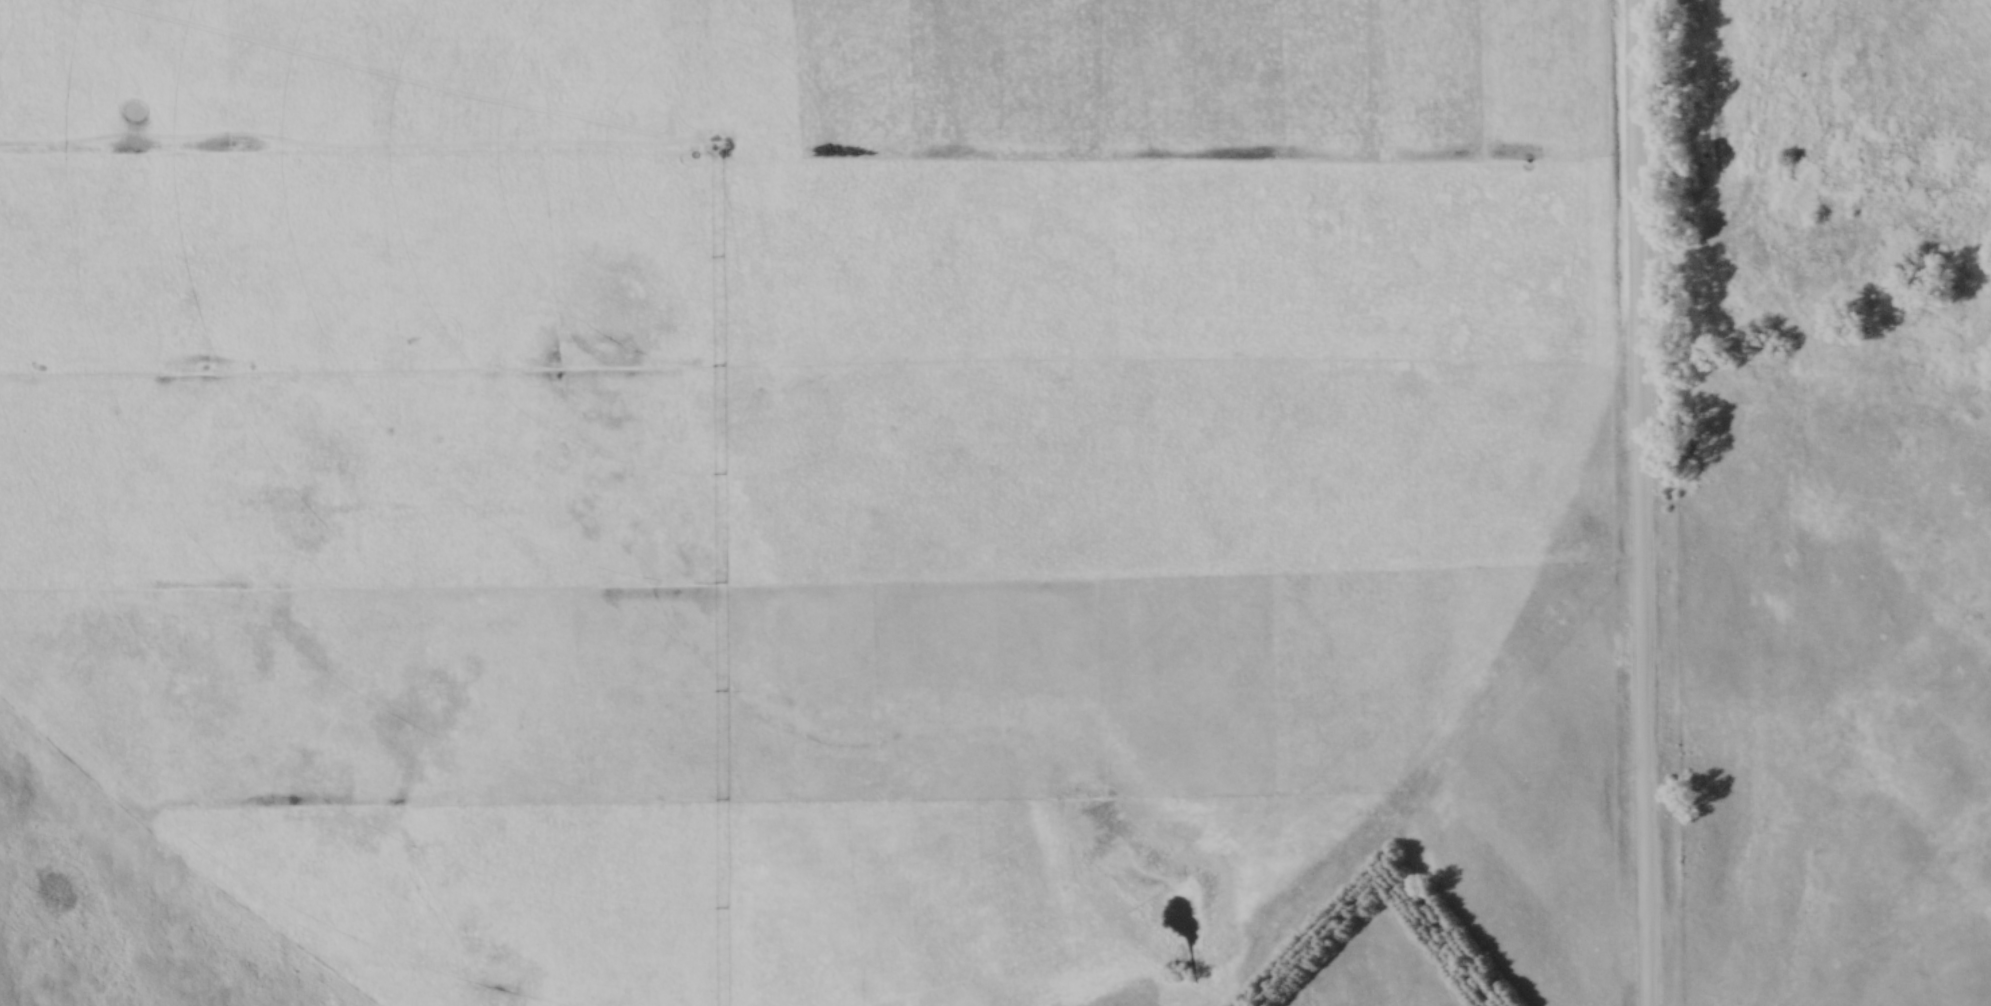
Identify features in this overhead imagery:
road: (1641, 502)

